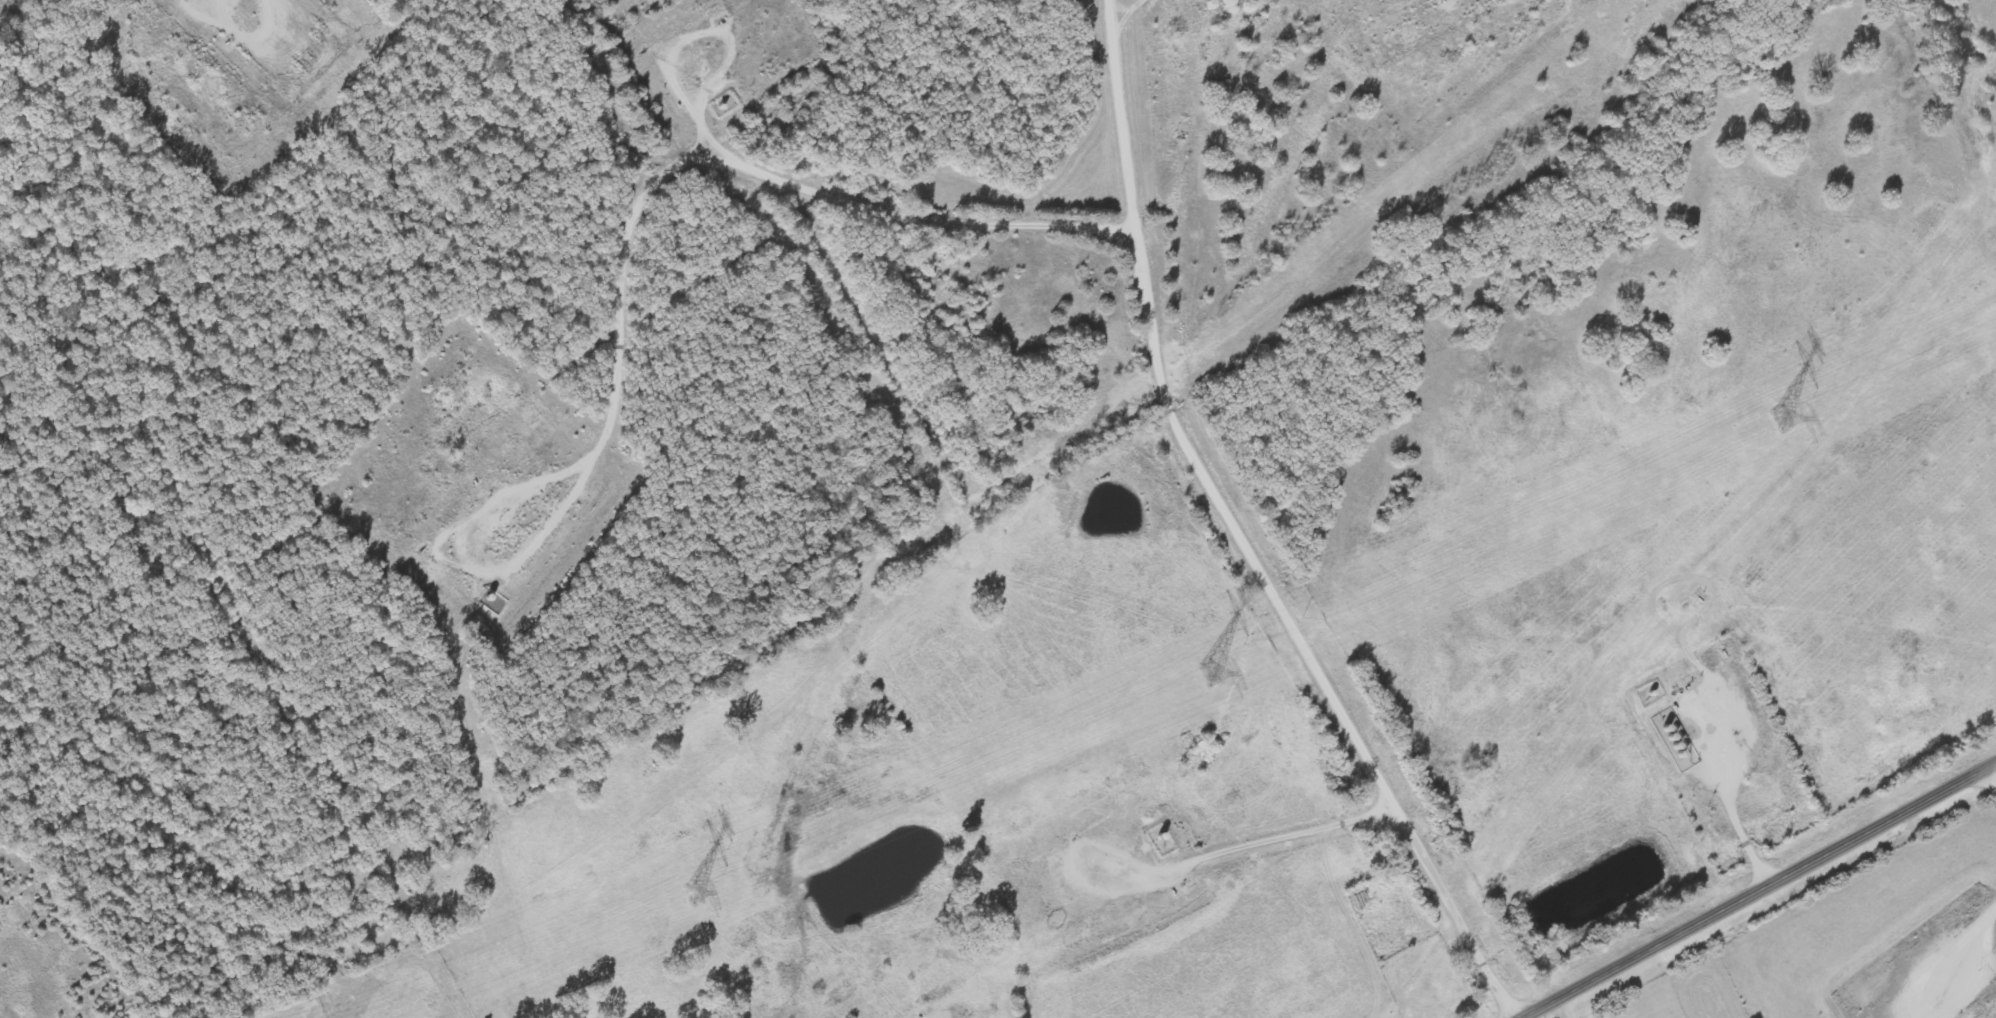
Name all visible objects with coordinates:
power tower: (1779, 417)
road: (424, 498)
road: (1282, 522)
power tower: (1204, 670)
road: (1733, 751)
road: (194, 816)
road: (1755, 889)
power tower: (689, 895)

